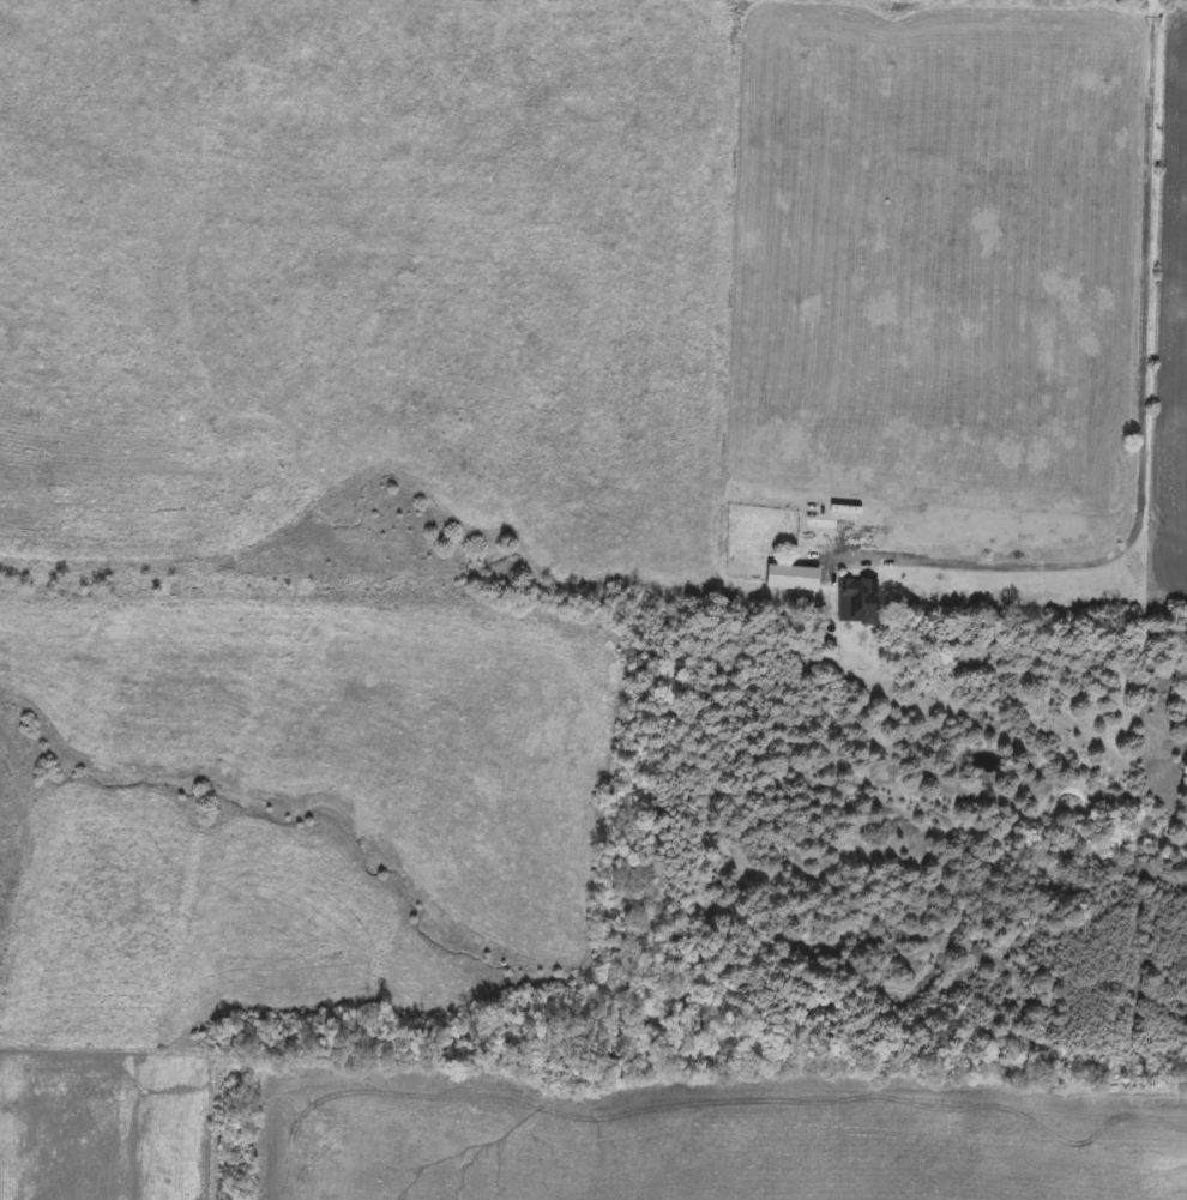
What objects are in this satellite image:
road: (1141, 421)
building: (858, 601)

